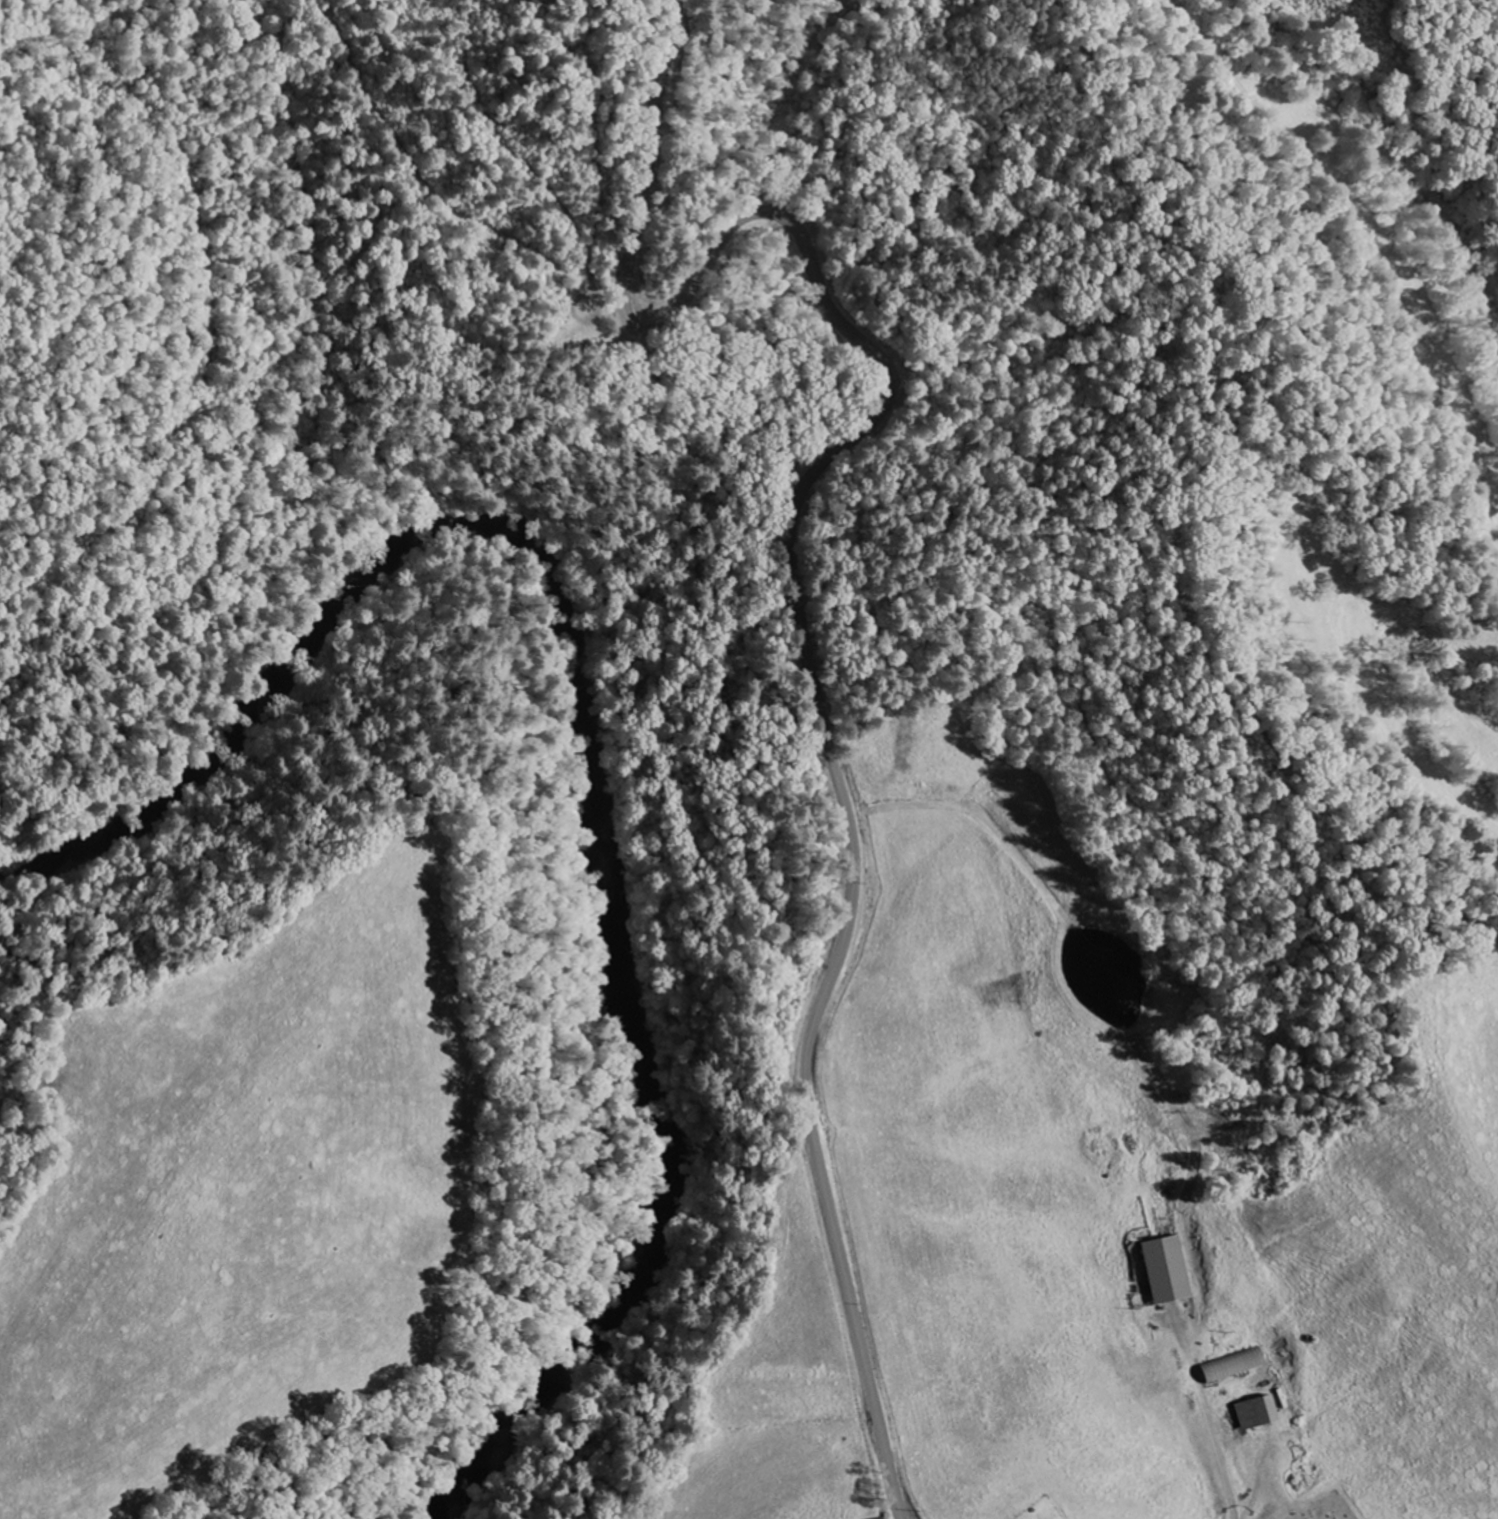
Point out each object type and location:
road: (788, 575)
river: (588, 733)
building: (1163, 1271)
building: (1251, 1414)
park: (1325, 1508)

